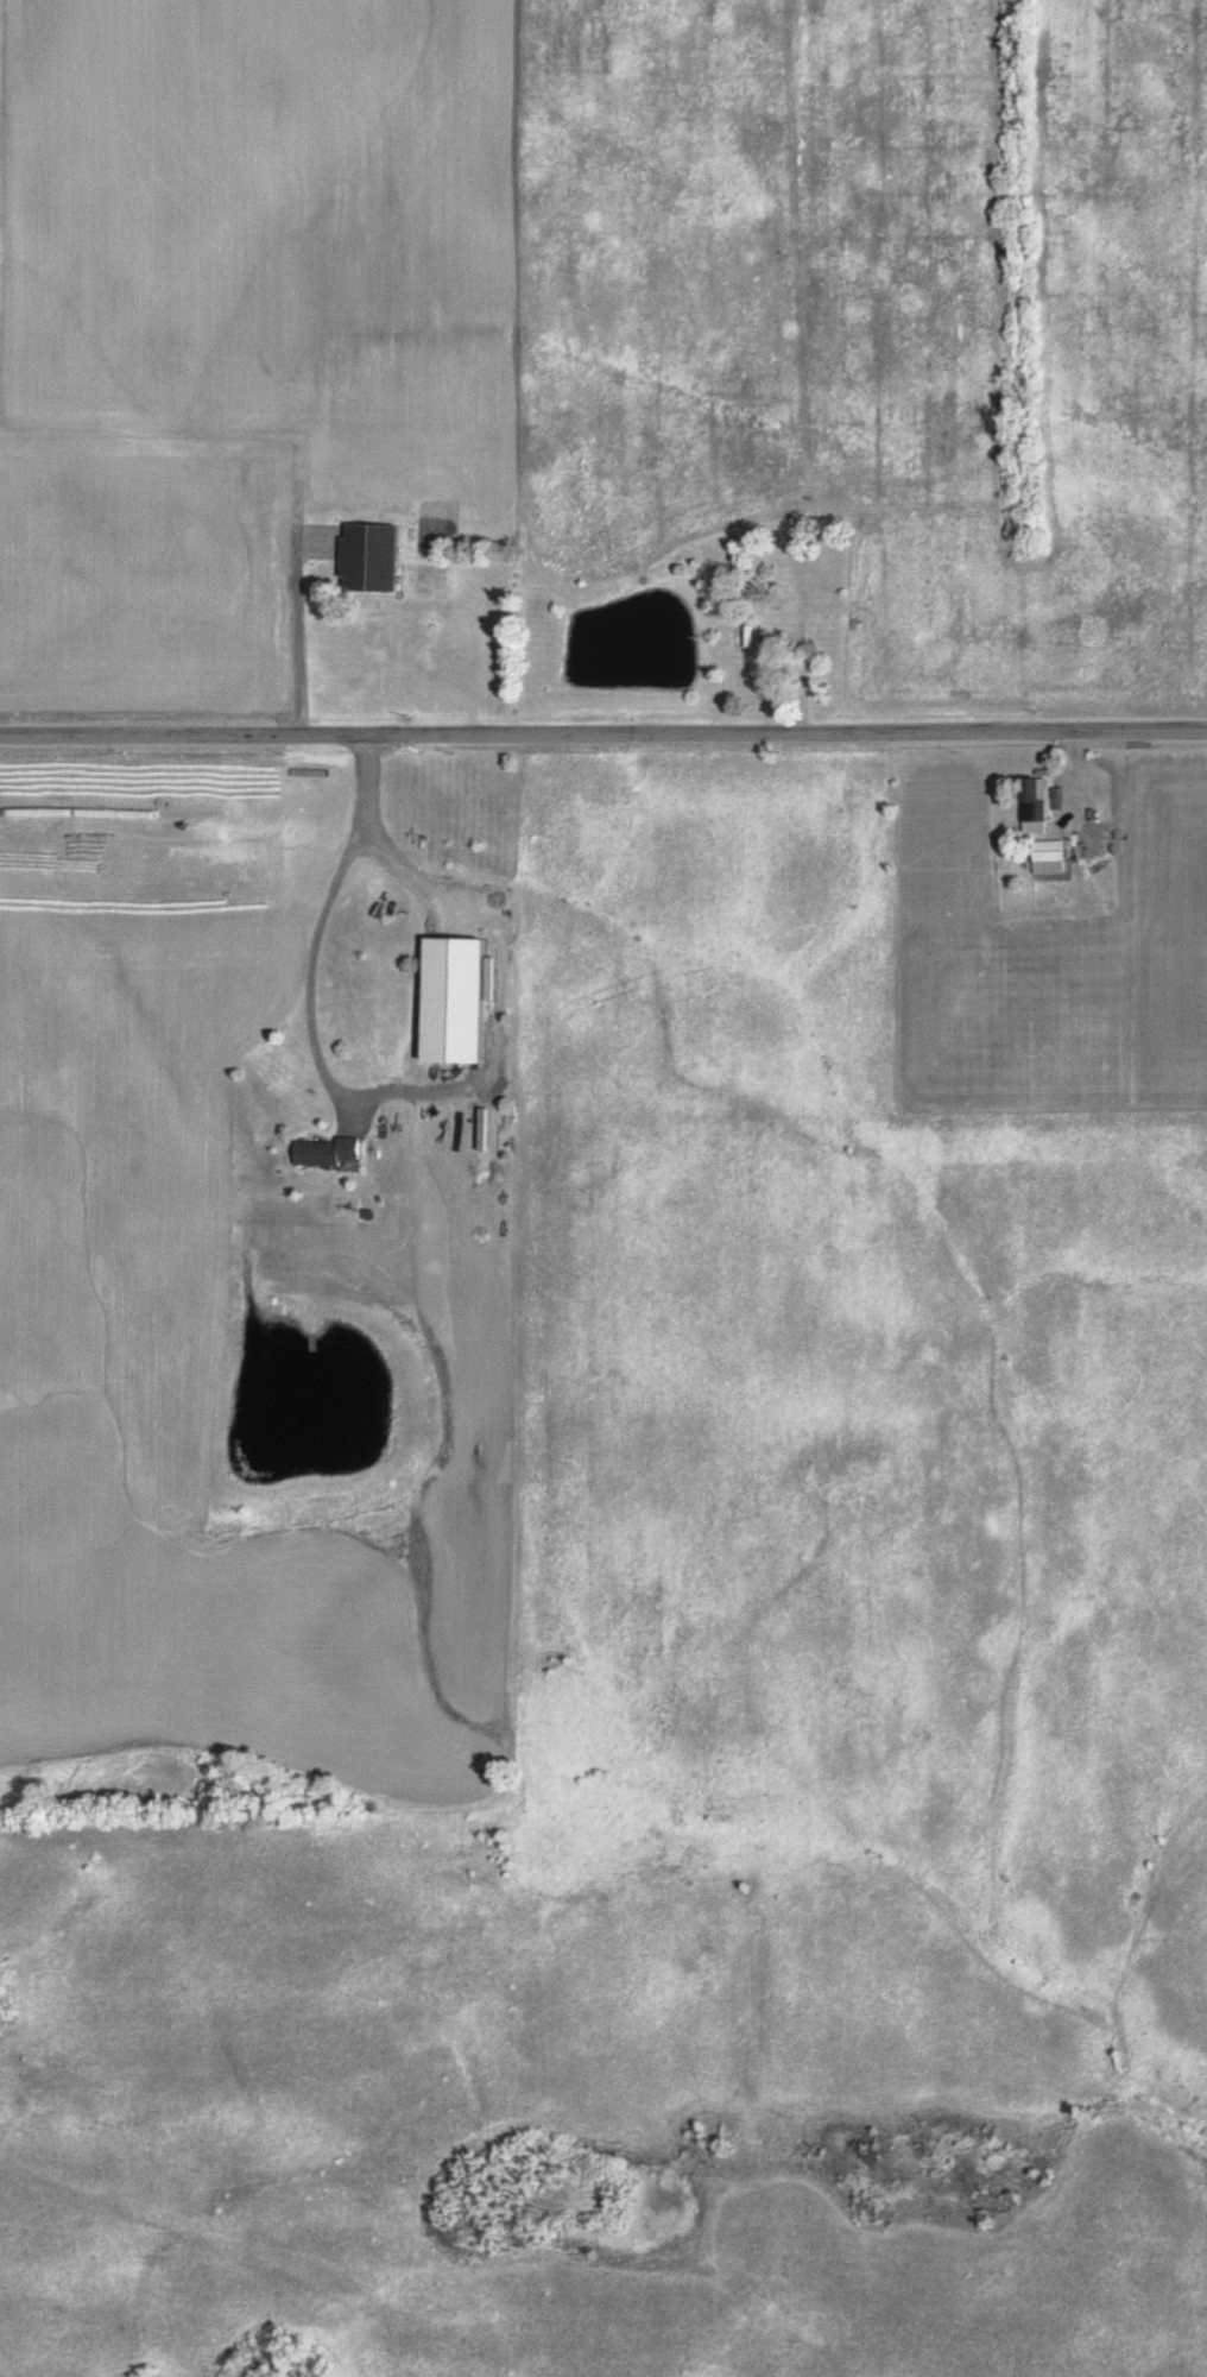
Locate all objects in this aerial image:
crop: (238, 316)
road: (297, 641)
road: (602, 737)
road: (409, 887)
road: (311, 931)

